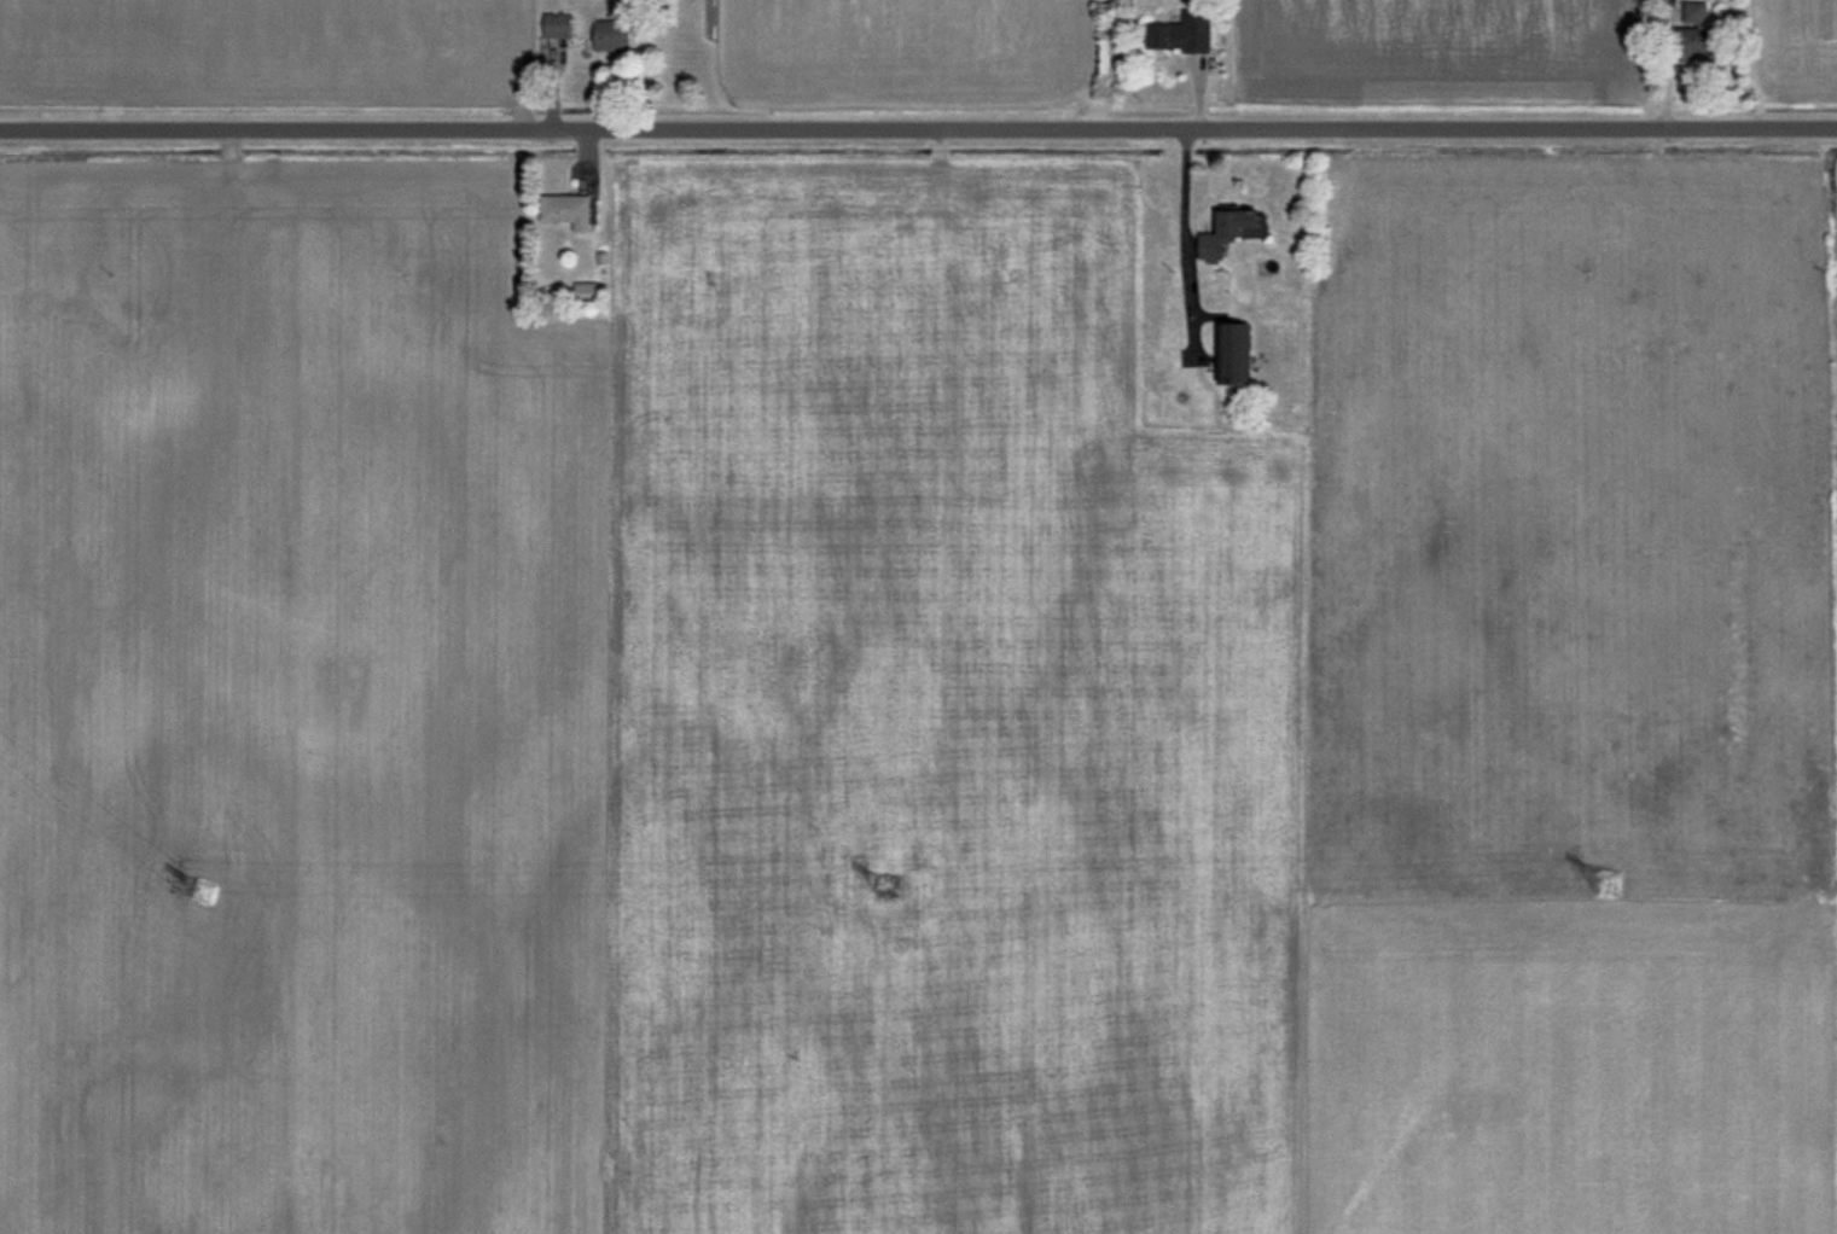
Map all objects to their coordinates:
building: (1698, 12)
building: (560, 25)
building: (1187, 34)
building: (616, 36)
building: (1707, 41)
road: (918, 128)
building: (570, 210)
building: (1234, 233)
building: (587, 291)
building: (1239, 355)
power tower: (1616, 881)
power tower: (894, 886)
power tower: (210, 896)

